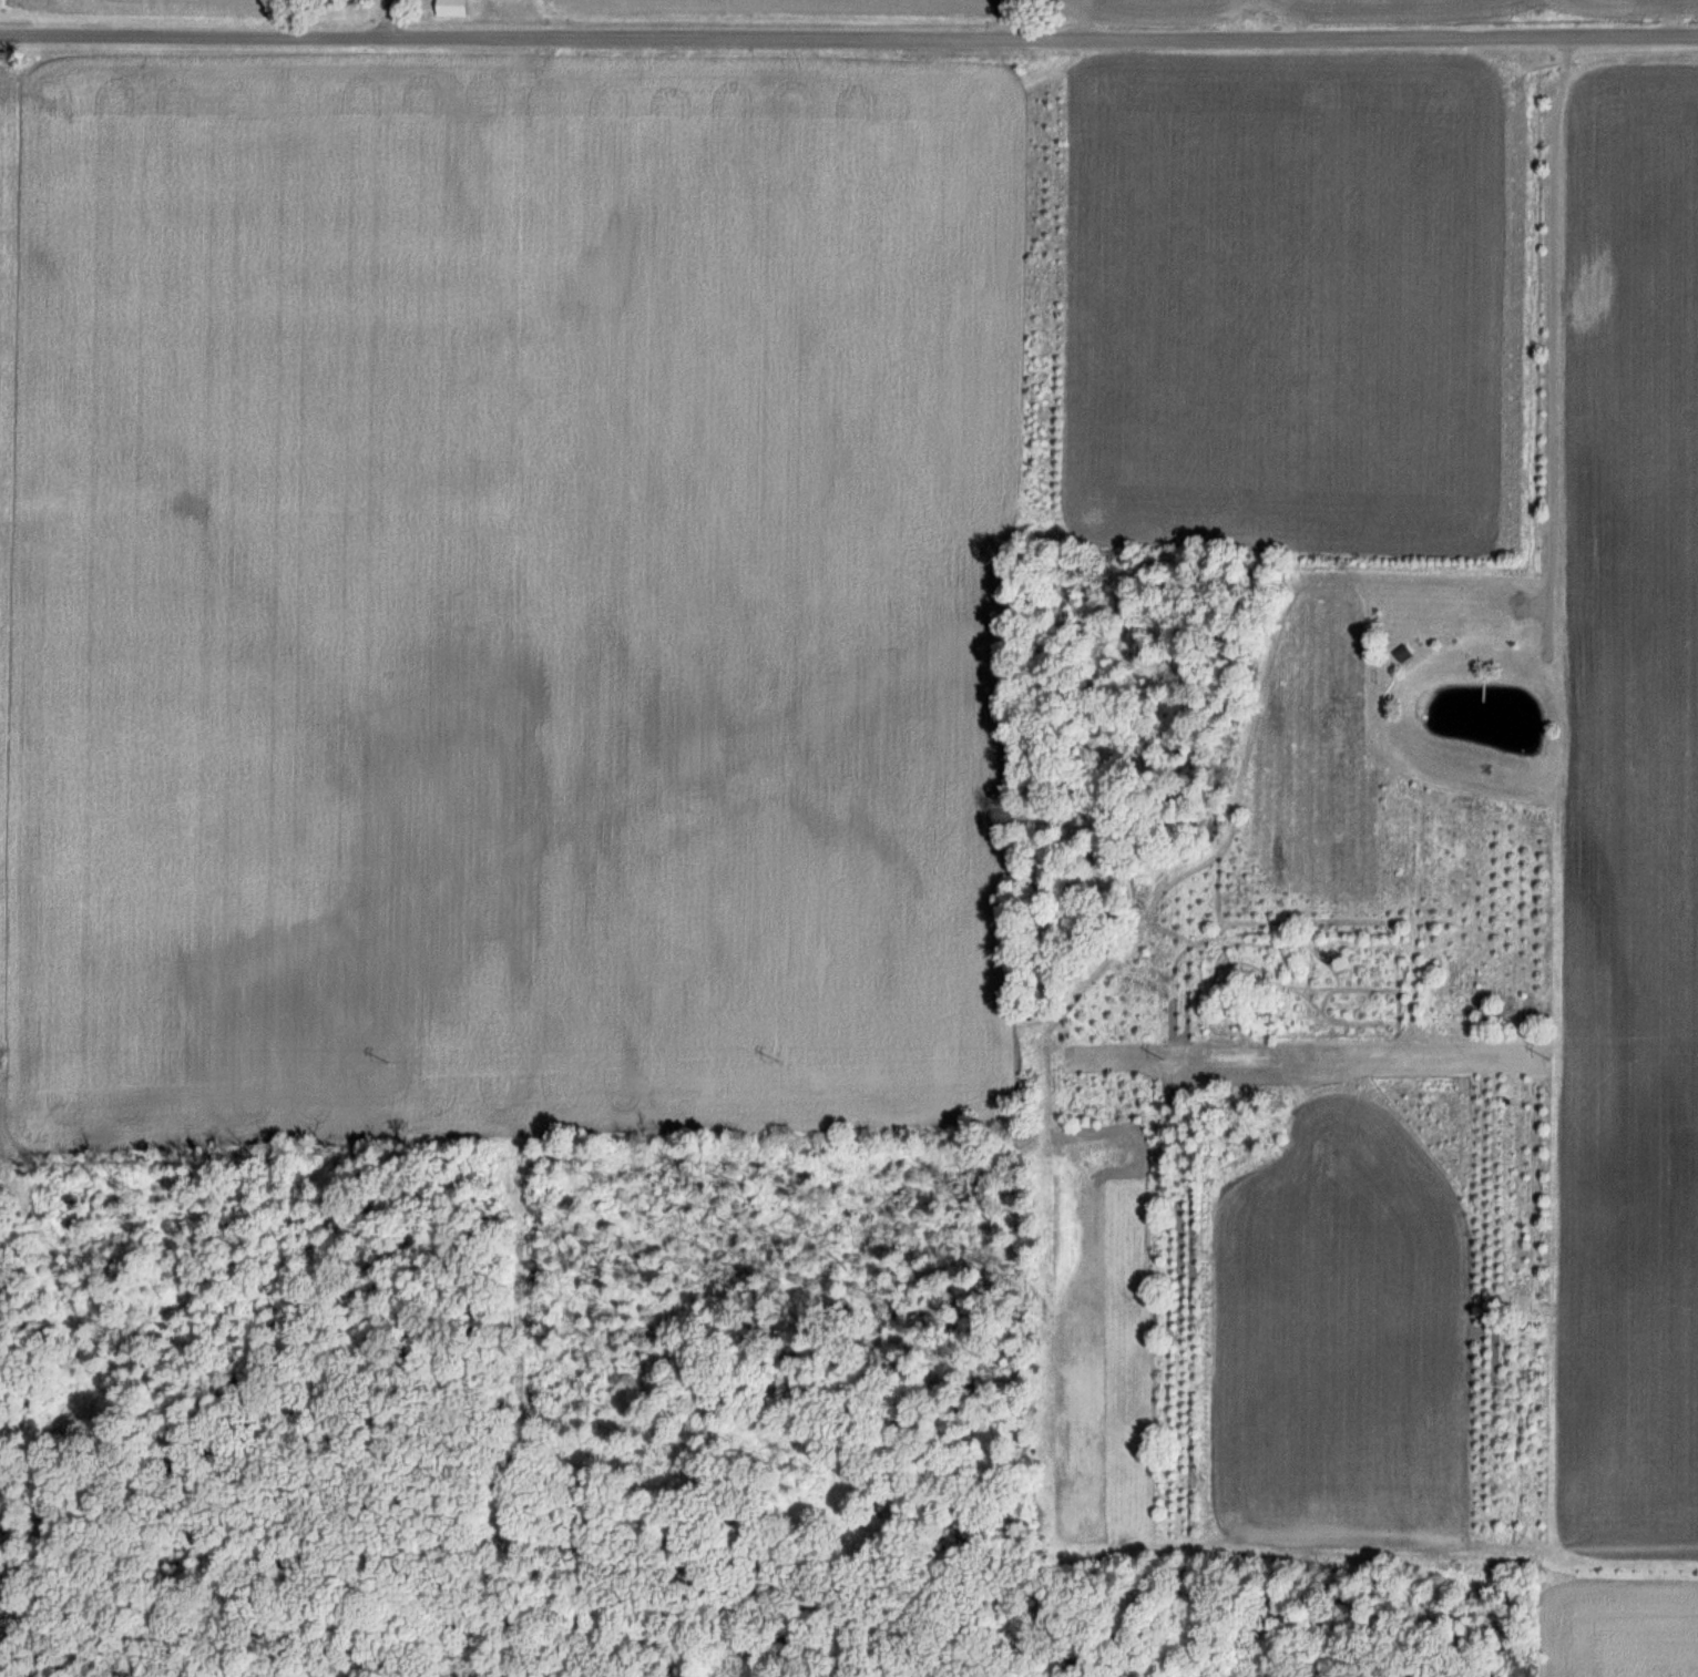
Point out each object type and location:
building: (452, 8)
road: (848, 35)
building: (1403, 654)

